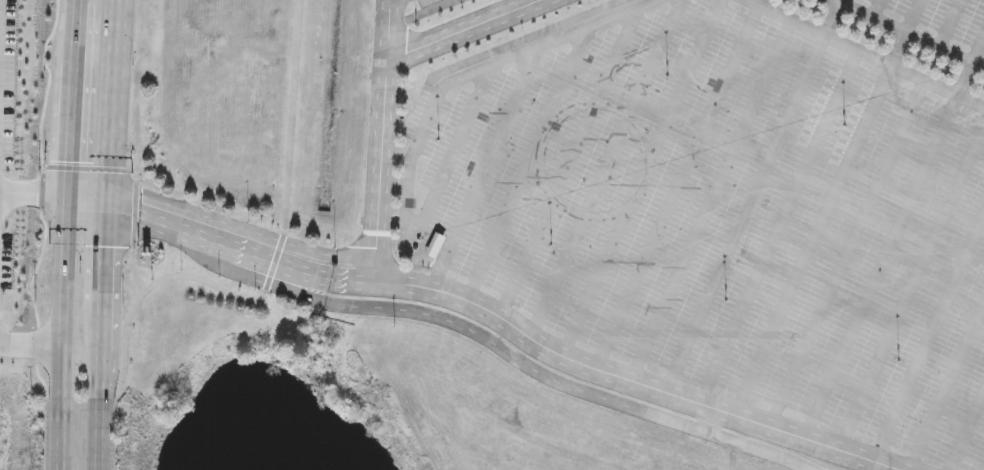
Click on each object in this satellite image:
parking lot: (870, 0)
road: (81, 1)
road: (841, 1)
parking lot: (427, 2)
parking lot: (900, 6)
road: (876, 8)
road: (431, 10)
parking lot: (935, 14)
road: (914, 16)
parking lot: (970, 22)
road: (397, 23)
road: (950, 24)
road: (463, 30)
road: (909, 34)
road: (524, 40)
road: (545, 42)
road: (978, 50)
road: (867, 54)
road: (966, 79)
road: (75, 98)
road: (108, 106)
road: (429, 119)
road: (382, 137)
road: (492, 155)
road: (451, 157)
road: (569, 161)
road: (528, 162)
road: (606, 168)
road: (641, 177)
traffic signals: (106, 187)
road: (677, 187)
road: (35, 194)
traffic signals: (70, 195)
road: (49, 198)
road: (712, 200)
parking lot: (733, 202)
road: (745, 213)
traffic signals: (106, 214)
road: (202, 222)
road: (780, 227)
road: (406, 229)
road: (813, 240)
road: (198, 244)
road: (848, 253)
road: (881, 267)
road: (270, 276)
road: (103, 281)
road: (911, 287)
road: (65, 296)
road: (928, 340)
road: (30, 342)
road: (612, 373)
road: (100, 375)
road: (568, 384)
road: (945, 386)
road: (967, 432)
road: (46, 433)
road: (61, 434)
road: (98, 435)
road: (114, 442)

